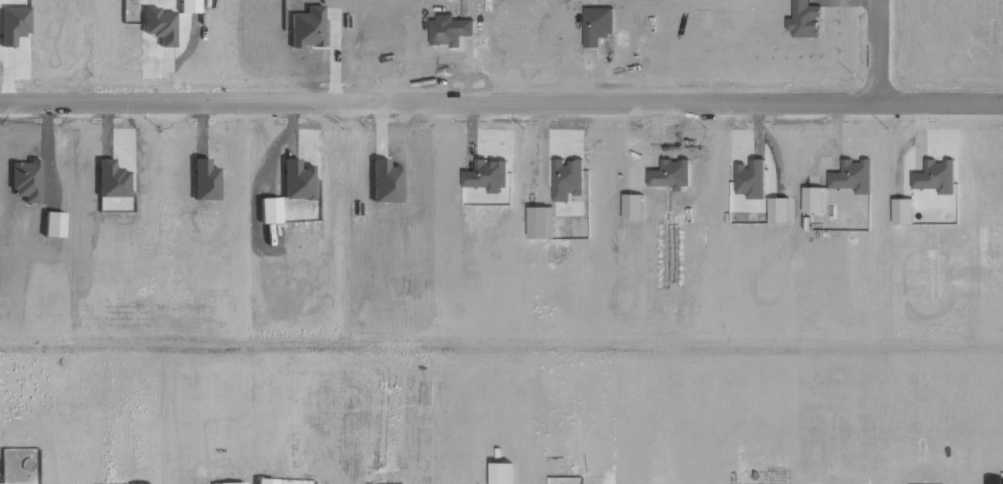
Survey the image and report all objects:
building: (187, 6)
building: (12, 24)
building: (158, 26)
road: (877, 51)
road: (501, 102)
building: (487, 175)
building: (851, 176)
building: (935, 177)
building: (750, 179)
building: (811, 200)
building: (902, 211)
building: (265, 481)
building: (234, 483)

